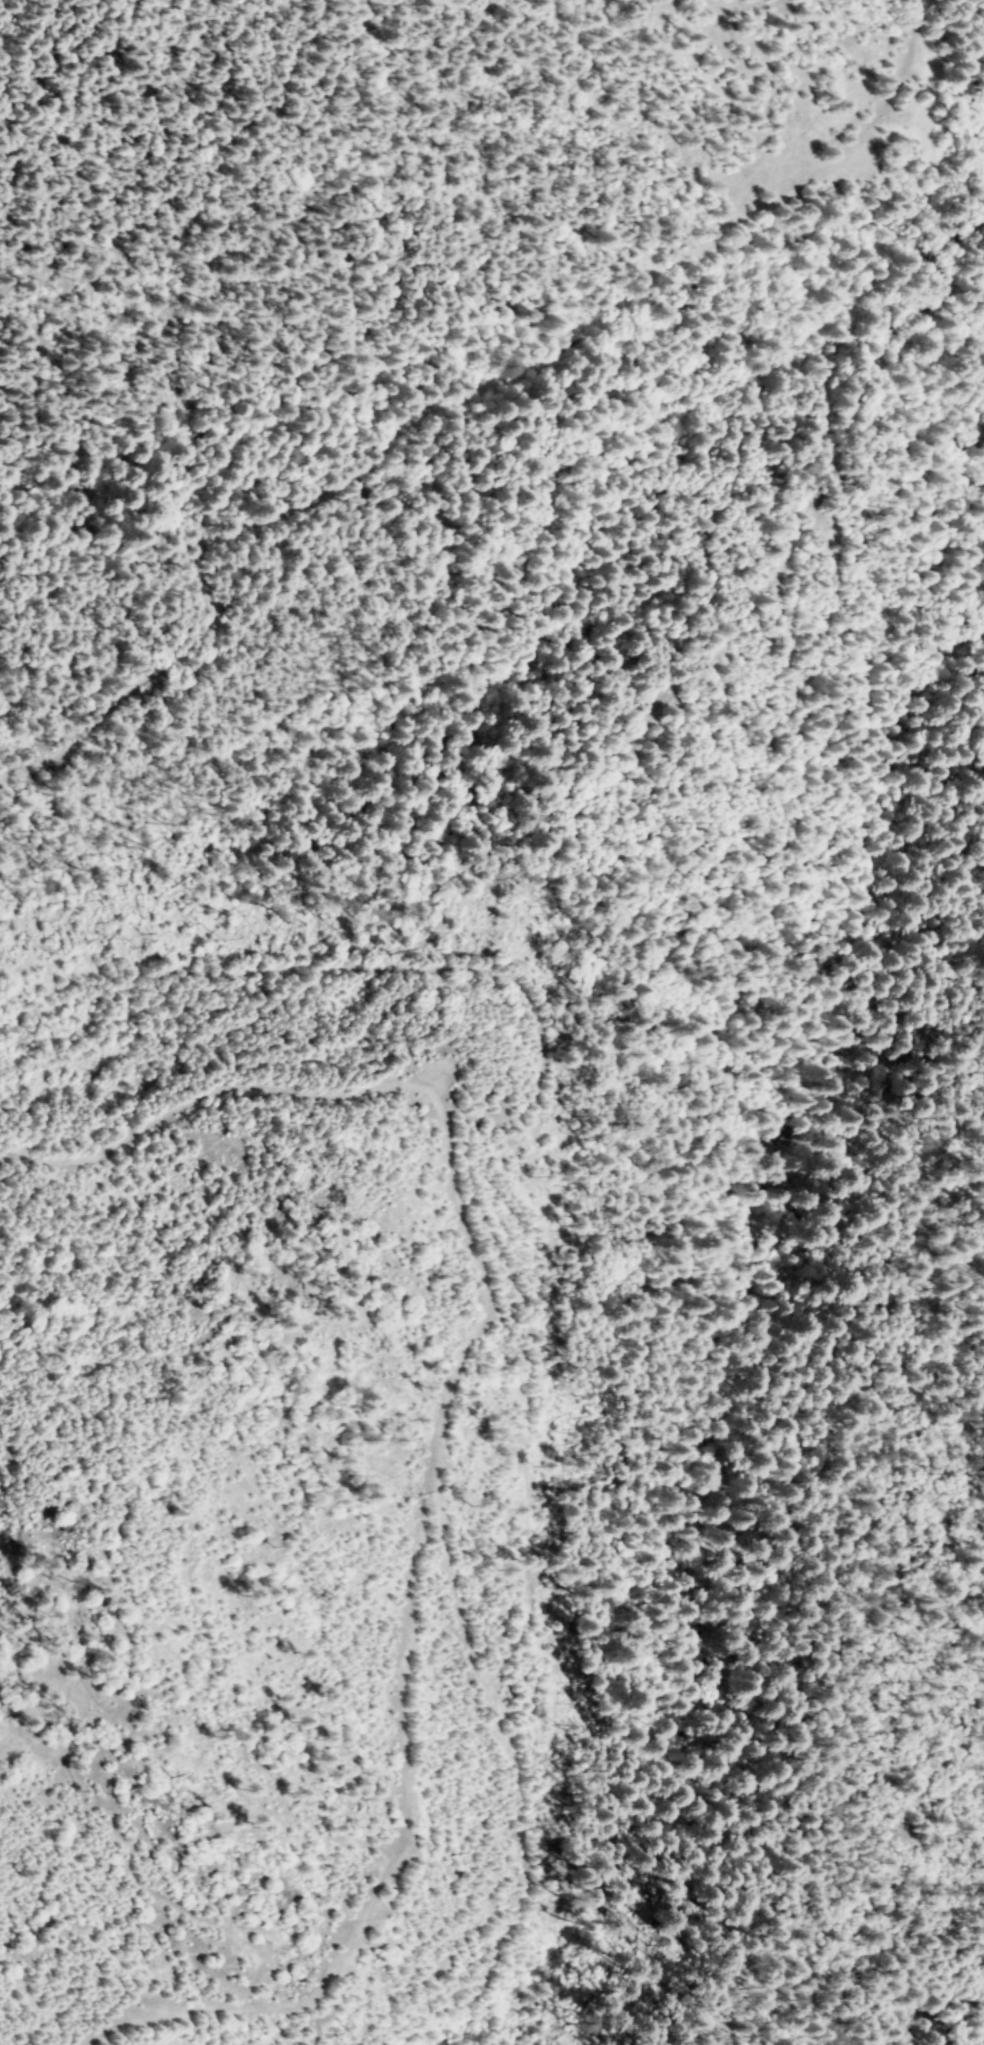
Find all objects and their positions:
road: (314, 217)

